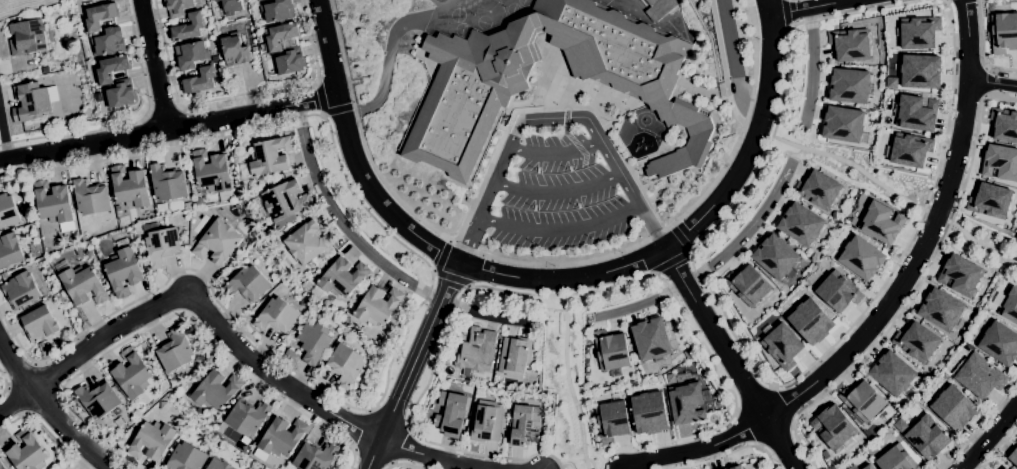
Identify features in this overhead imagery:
building: (259, 0)
park: (439, 0)
park: (523, 2)
building: (231, 6)
building: (178, 7)
road: (816, 8)
building: (276, 10)
park: (511, 10)
road: (786, 15)
building: (99, 16)
building: (188, 28)
building: (1003, 32)
building: (915, 34)
building: (28, 36)
building: (280, 36)
building: (108, 42)
road: (710, 43)
building: (849, 44)
road: (983, 48)
building: (234, 50)
building: (190, 54)
building: (289, 63)
road: (732, 63)
road: (722, 64)
road: (155, 65)
road: (386, 65)
building: (111, 68)
road: (810, 71)
building: (919, 72)
building: (199, 81)
road: (984, 82)
road: (992, 83)
building: (848, 86)
building: (476, 91)
road: (700, 91)
building: (121, 95)
road: (234, 96)
road: (319, 99)
building: (33, 101)
road: (339, 109)
road: (550, 109)
road: (163, 111)
building: (914, 114)
road: (552, 118)
road: (132, 124)
building: (841, 124)
building: (1004, 126)
road: (169, 130)
road: (4, 139)
road: (570, 139)
road: (555, 152)
building: (907, 153)
building: (267, 158)
building: (1000, 162)
building: (211, 171)
building: (167, 183)
building: (130, 187)
building: (818, 190)
road: (557, 193)
road: (898, 196)
building: (91, 198)
building: (286, 200)
building: (990, 202)
building: (54, 205)
building: (188, 206)
building: (8, 212)
building: (881, 222)
building: (801, 224)
road: (559, 230)
road: (679, 236)
road: (925, 237)
building: (218, 242)
building: (310, 243)
building: (162, 246)
building: (9, 250)
road: (933, 253)
building: (775, 256)
road: (374, 257)
road: (442, 257)
building: (861, 257)
road: (671, 262)
road: (548, 263)
road: (713, 264)
building: (123, 269)
building: (959, 276)
building: (342, 277)
road: (451, 277)
road: (550, 281)
building: (81, 284)
building: (247, 284)
building: (748, 285)
building: (20, 291)
building: (838, 291)
road: (558, 294)
building: (378, 305)
building: (1009, 307)
building: (941, 310)
building: (277, 316)
road: (209, 319)
road: (410, 321)
building: (811, 321)
building: (38, 324)
building: (651, 339)
building: (917, 341)
building: (313, 342)
road: (214, 344)
building: (999, 344)
building: (782, 345)
road: (745, 349)
building: (611, 350)
building: (175, 351)
building: (479, 351)
building: (291, 356)
building: (515, 356)
road: (730, 358)
road: (413, 364)
building: (345, 365)
road: (21, 373)
building: (132, 374)
building: (891, 374)
road: (47, 377)
building: (979, 377)
road: (4, 383)
road: (569, 383)
building: (216, 390)
building: (685, 396)
road: (16, 400)
building: (97, 400)
road: (18, 401)
building: (862, 401)
road: (43, 403)
road: (47, 406)
building: (953, 408)
building: (649, 412)
building: (450, 414)
building: (247, 418)
building: (610, 421)
building: (486, 422)
building: (523, 425)
road: (980, 425)
building: (832, 427)
road: (45, 429)
road: (362, 429)
road: (795, 434)
road: (989, 434)
road: (93, 435)
road: (684, 436)
building: (927, 438)
building: (279, 439)
building: (151, 441)
building: (1016, 442)
road: (663, 444)
road: (696, 447)
road: (757, 447)
road: (998, 447)
road: (625, 450)
building: (26, 452)
road: (422, 455)
road: (712, 456)
building: (315, 457)
building: (1013, 457)
building: (186, 458)
building: (896, 459)
road: (697, 462)
road: (664, 463)
building: (218, 465)
road: (402, 465)
road: (567, 465)
road: (590, 465)
building: (1, 466)
road: (633, 467)
building: (733, 467)
building: (868, 467)
building: (1003, 468)

